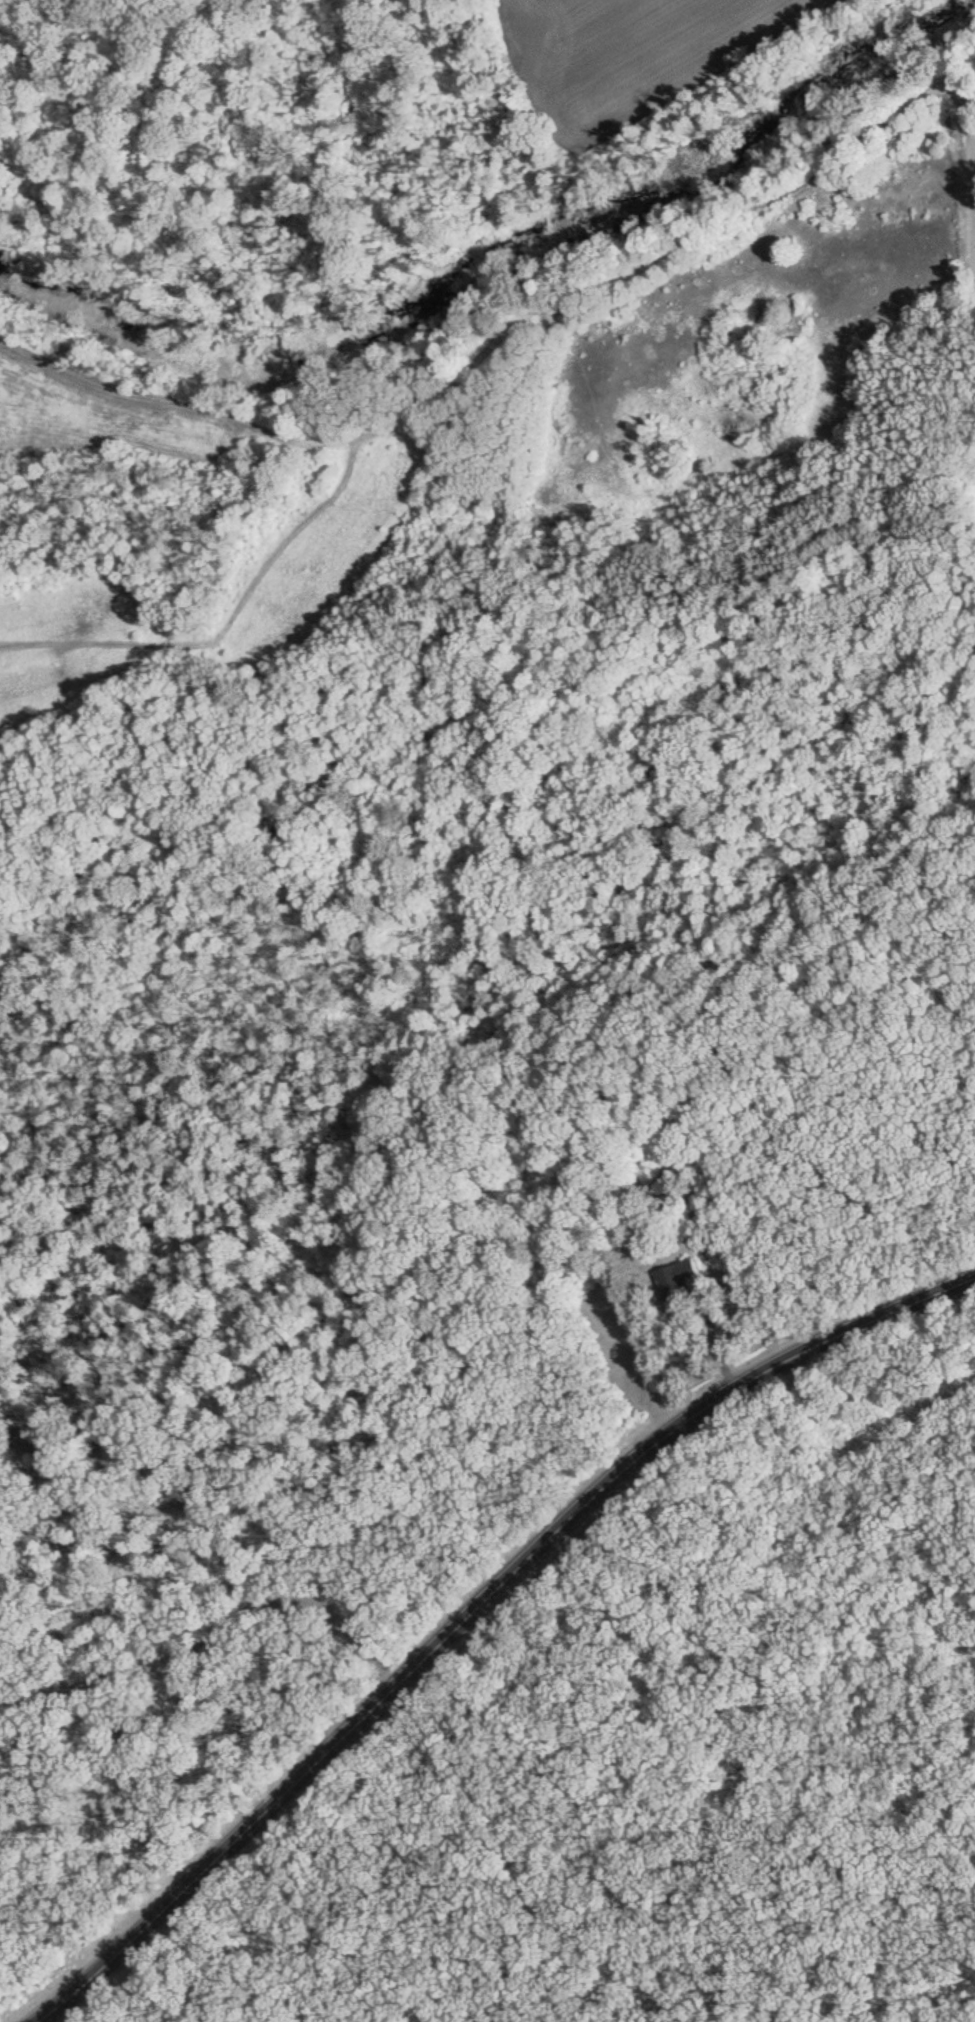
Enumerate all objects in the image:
road: (958, 118)
building: (569, 1271)
building: (679, 1278)
road: (718, 1335)
road: (477, 1608)
road: (209, 1637)

